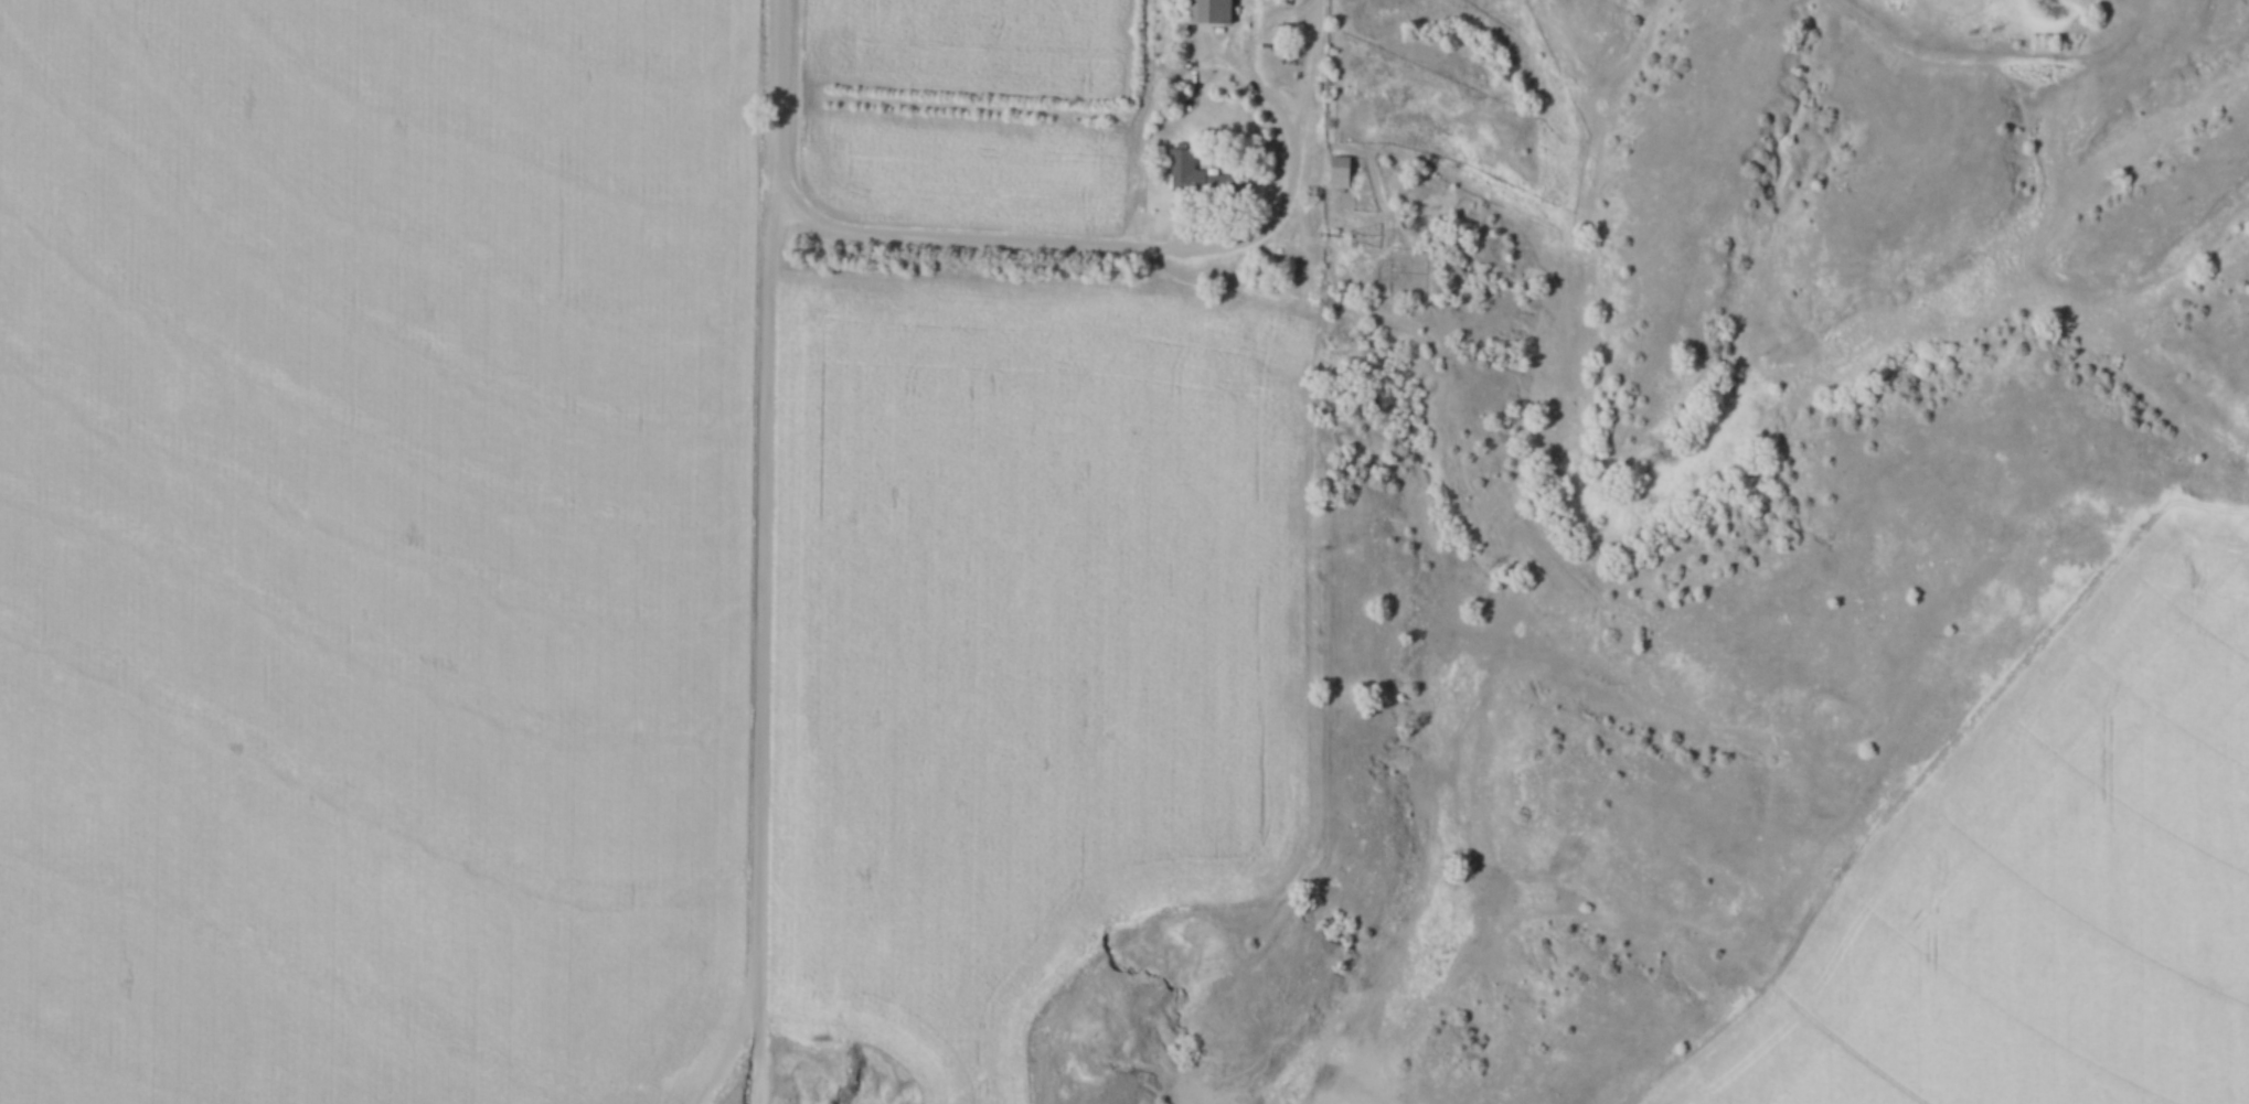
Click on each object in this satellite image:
building: (1209, 7)
crop: (969, 42)
crop: (966, 167)
building: (1336, 172)
building: (1200, 179)
road: (996, 239)
crop: (375, 548)
road: (769, 551)
crop: (1026, 647)

